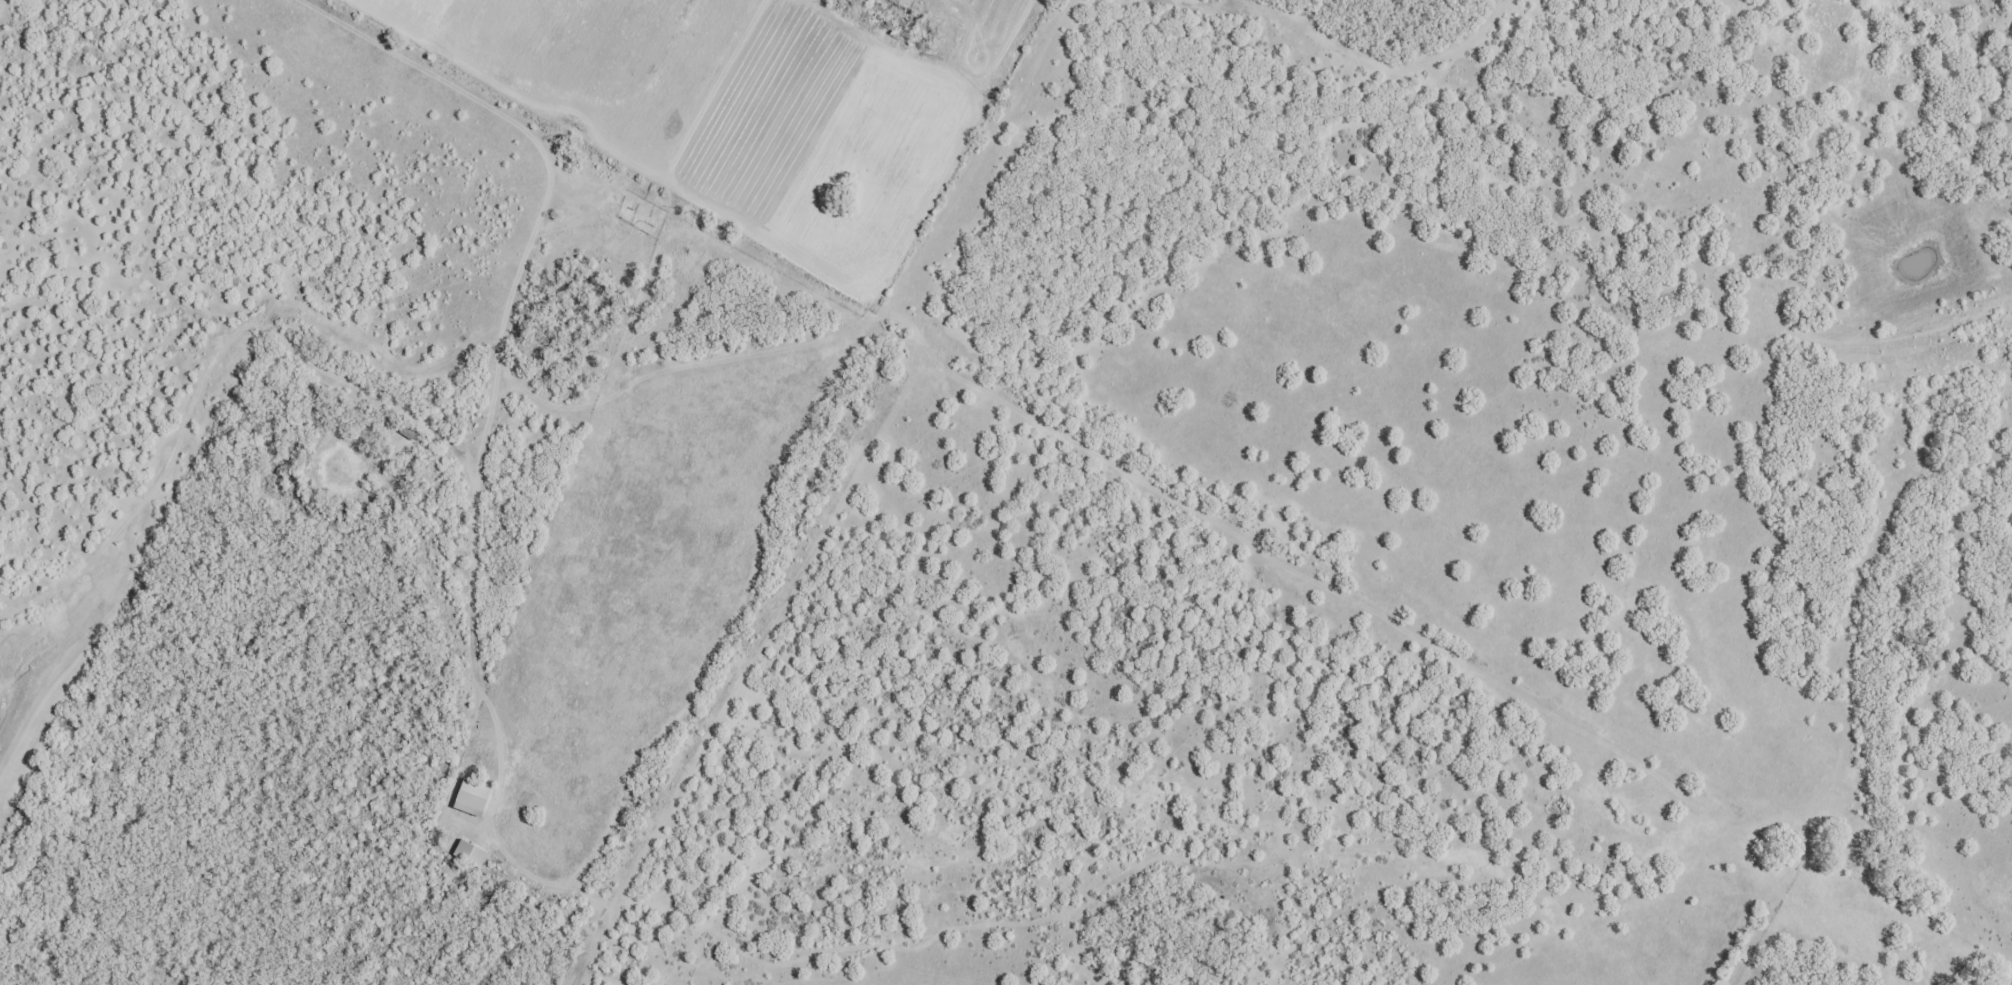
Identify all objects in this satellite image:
road: (519, 125)
road: (471, 649)
building: (468, 796)
building: (466, 852)

